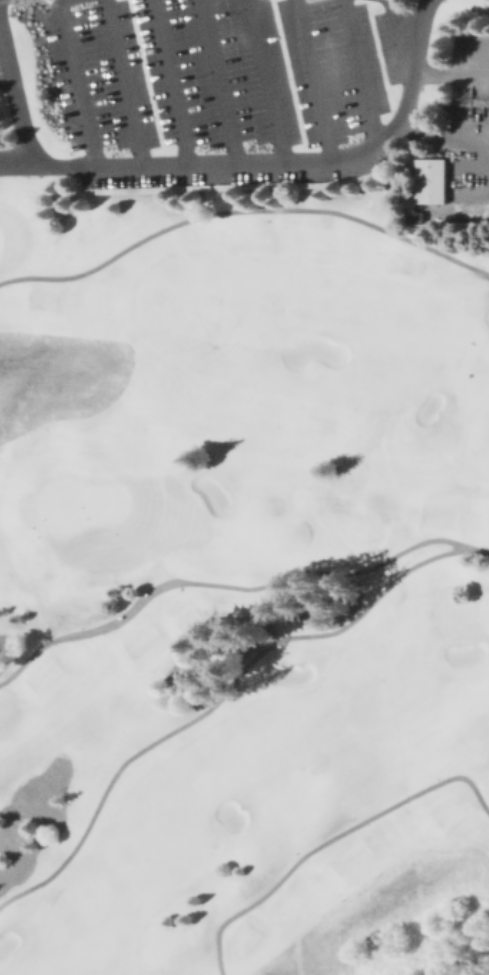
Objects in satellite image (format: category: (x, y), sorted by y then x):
road: (0, 0)
road: (17, 1)
road: (51, 6)
road: (360, 76)
road: (451, 78)
road: (315, 81)
road: (267, 84)
road: (78, 85)
road: (128, 85)
road: (172, 85)
road: (223, 85)
road: (446, 140)
road: (17, 161)
road: (221, 170)
building: (432, 184)
road: (242, 208)
building: (414, 215)
park: (244, 487)
road: (474, 547)
road: (413, 564)
road: (330, 836)

